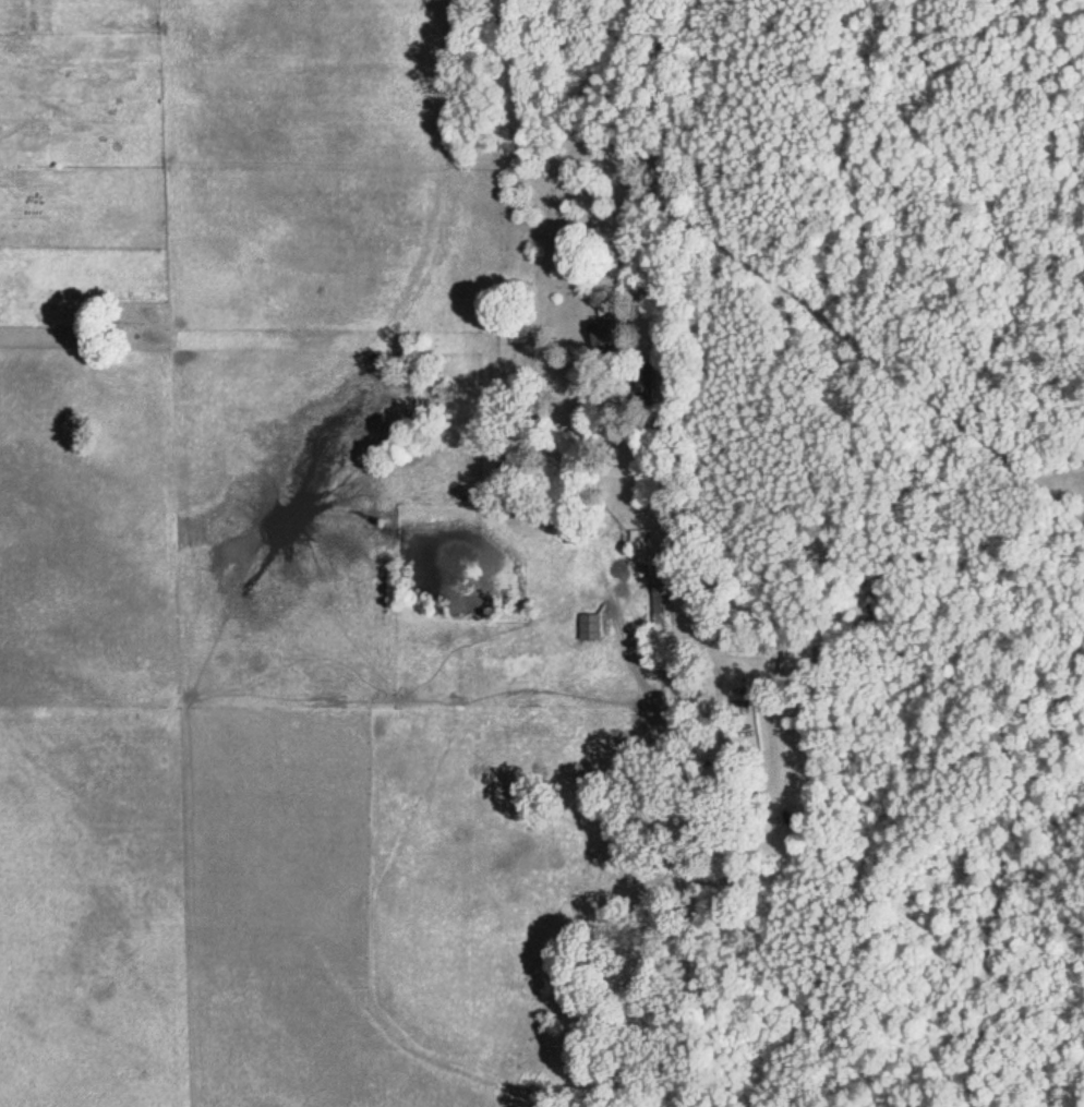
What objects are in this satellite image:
road: (663, 184)
building: (612, 325)
building: (629, 544)
building: (663, 594)
building: (591, 626)
building: (799, 658)

